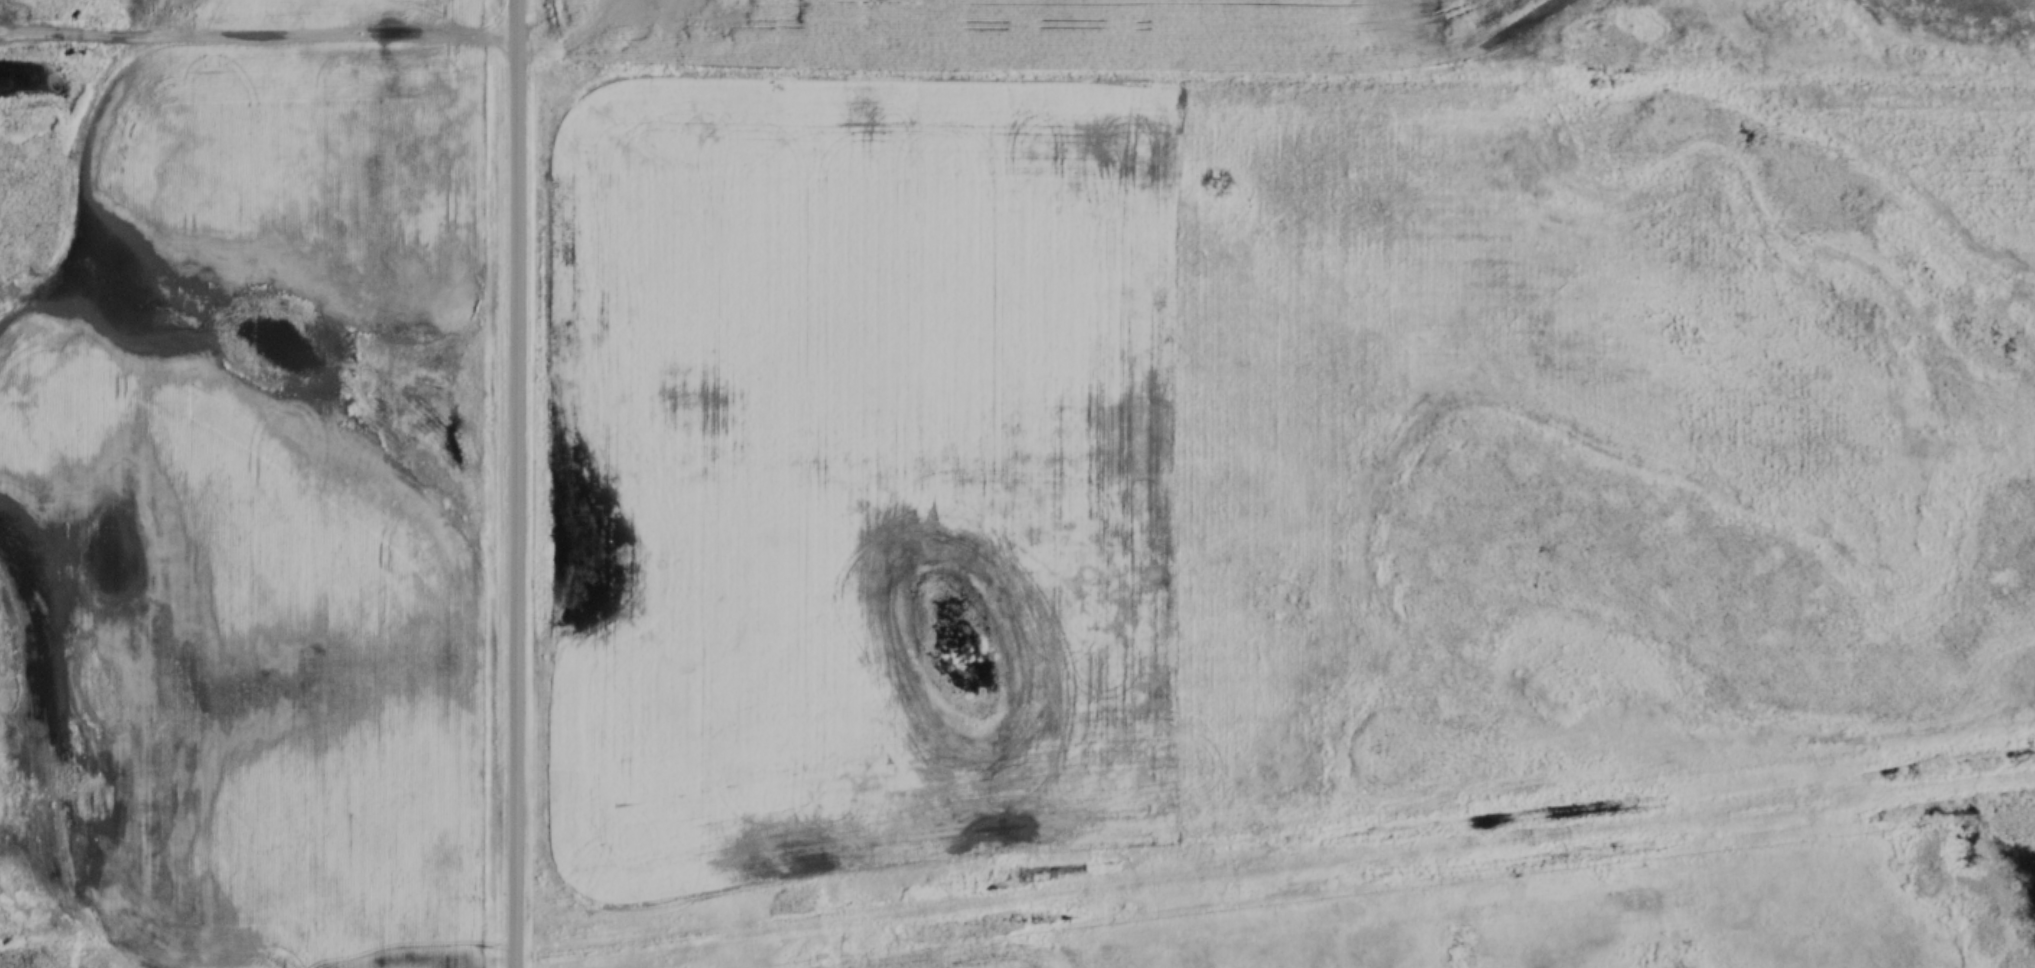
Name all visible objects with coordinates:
road: (259, 29)
road: (518, 483)

